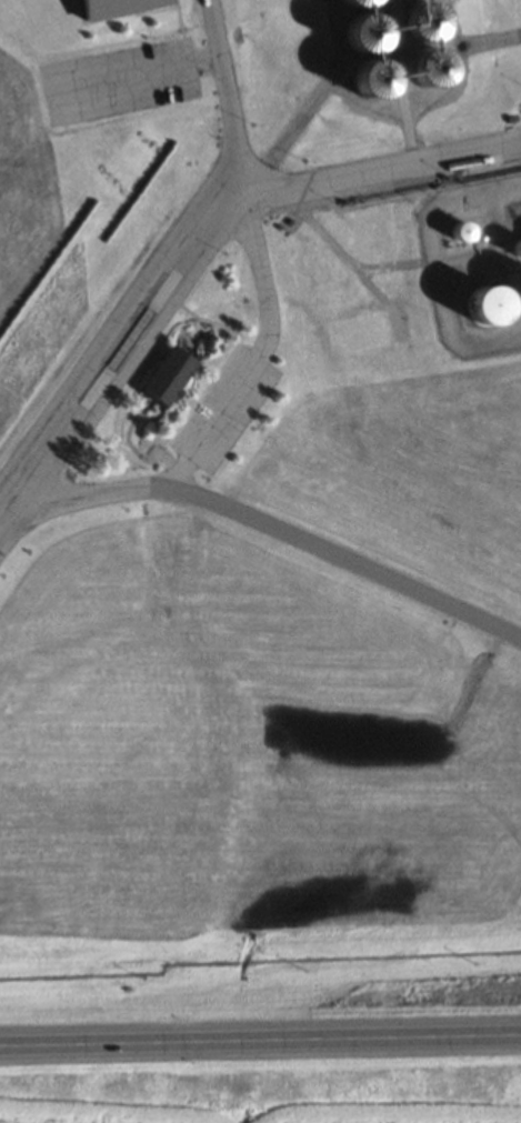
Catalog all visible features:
building: (117, 10)
building: (389, 90)
road: (381, 177)
road: (253, 261)
road: (116, 324)
road: (121, 374)
building: (168, 382)
road: (76, 502)
road: (340, 566)
road: (260, 1044)

